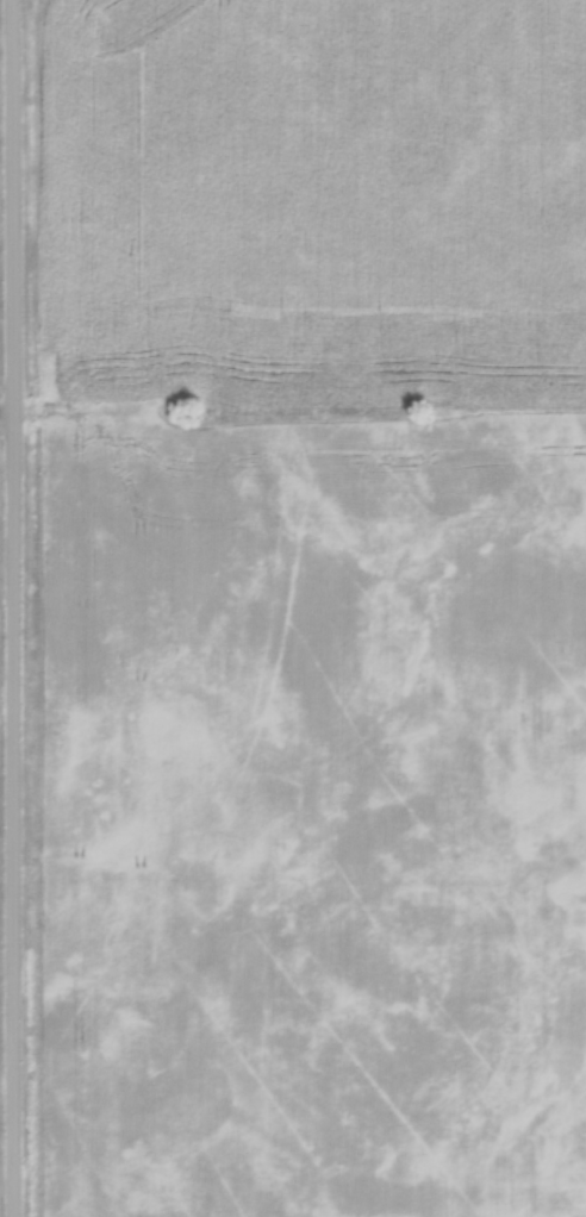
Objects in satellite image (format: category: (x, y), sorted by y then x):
road: (12, 608)

